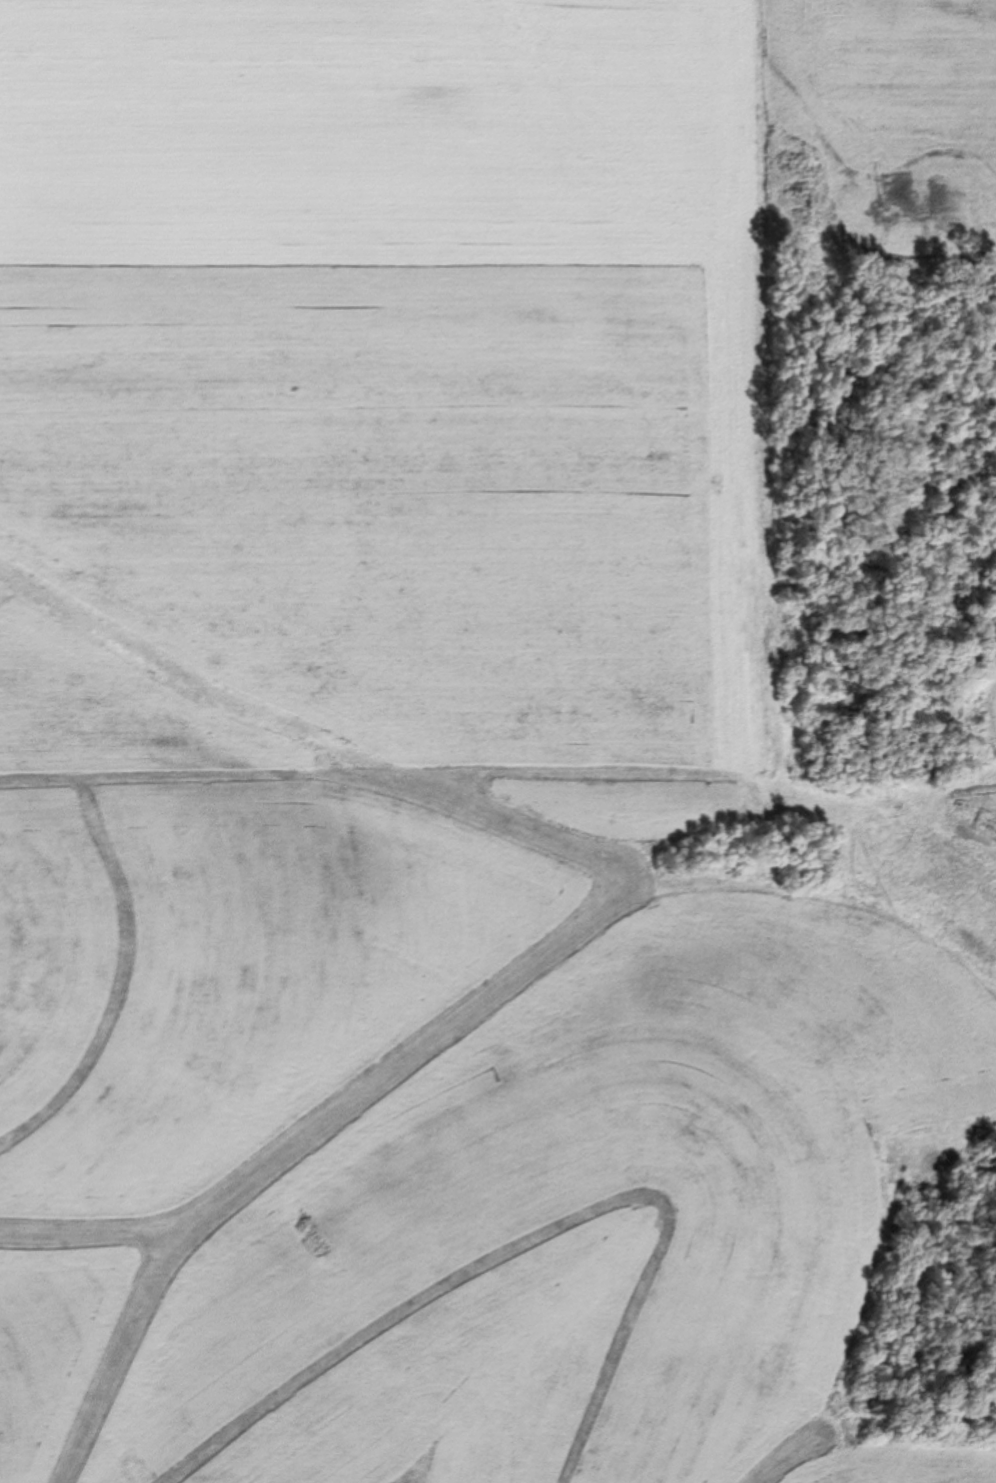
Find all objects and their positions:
road: (950, 1410)

